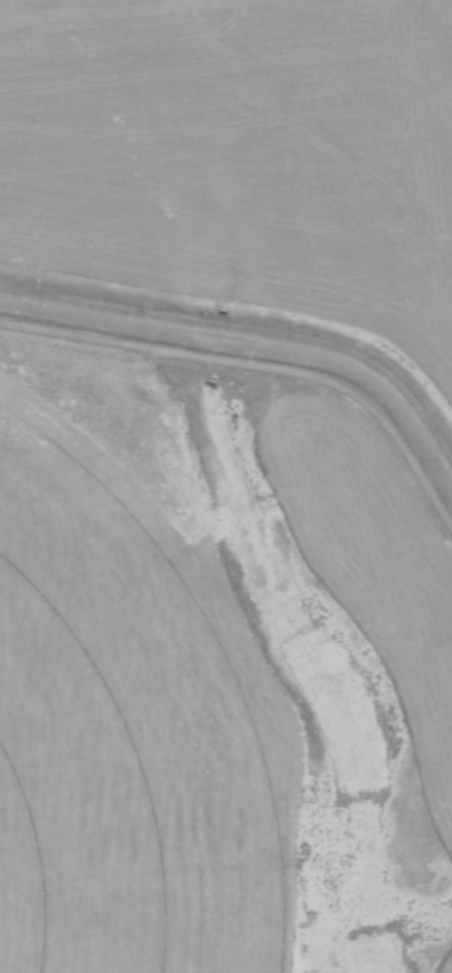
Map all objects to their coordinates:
crop: (126, 735)

